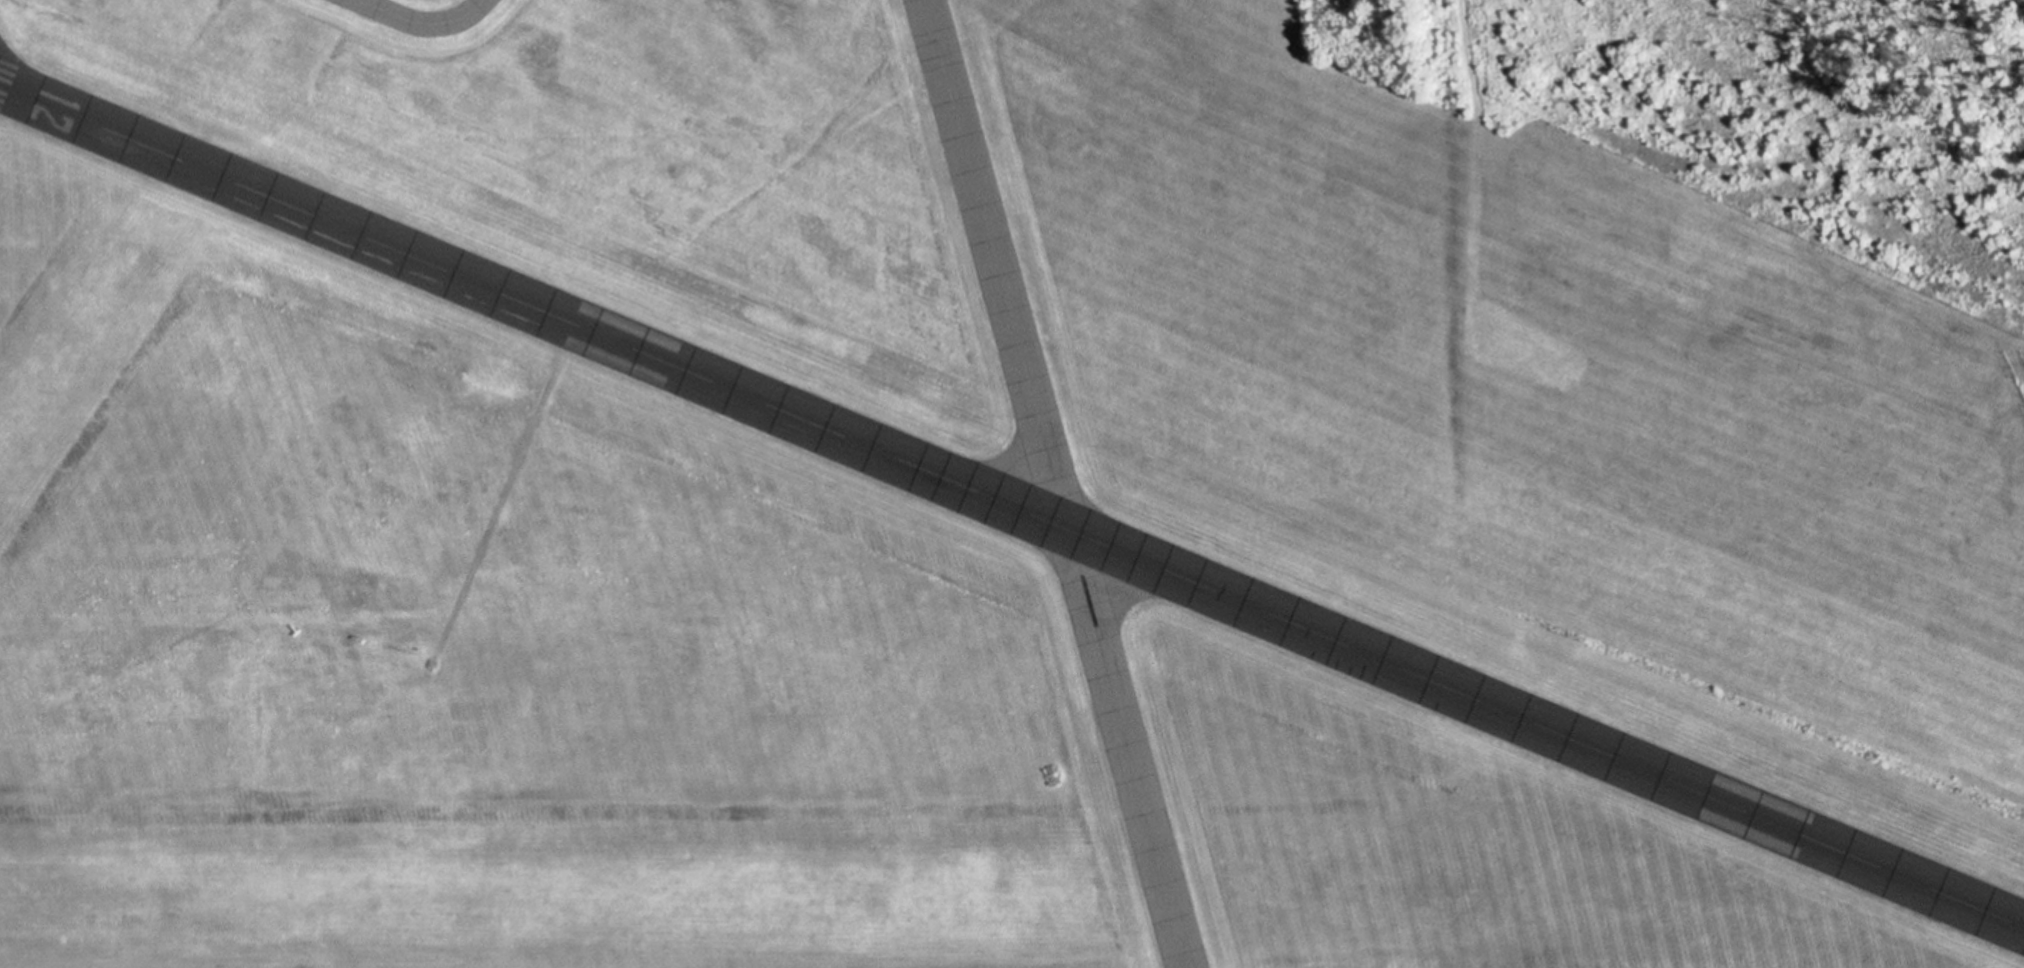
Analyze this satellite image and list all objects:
airport taxiway: (422, 21)
airport runway: (1053, 483)
airport: (1012, 484)
airport runway: (1012, 504)
building: (1170, 913)

